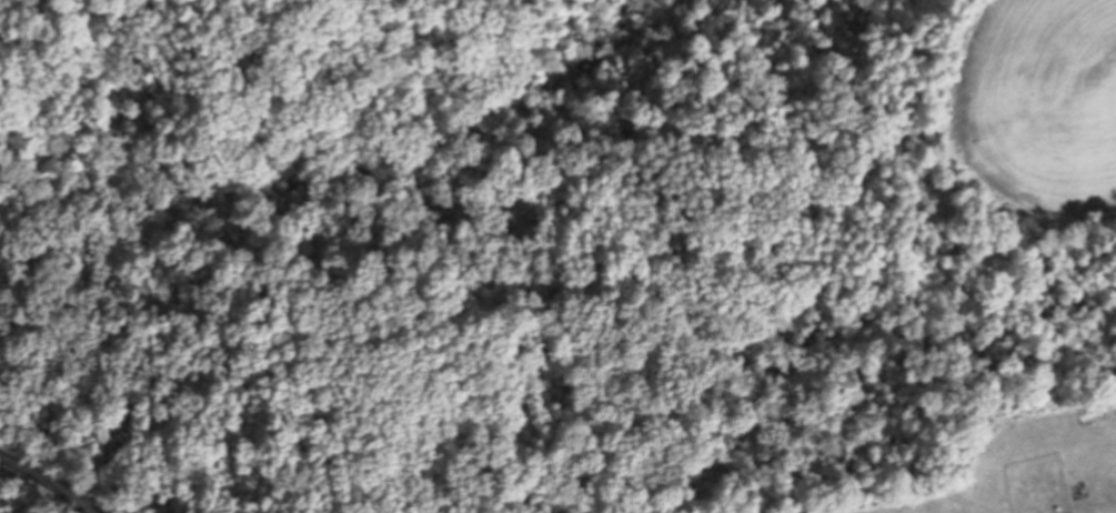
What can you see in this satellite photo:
road: (48, 480)

